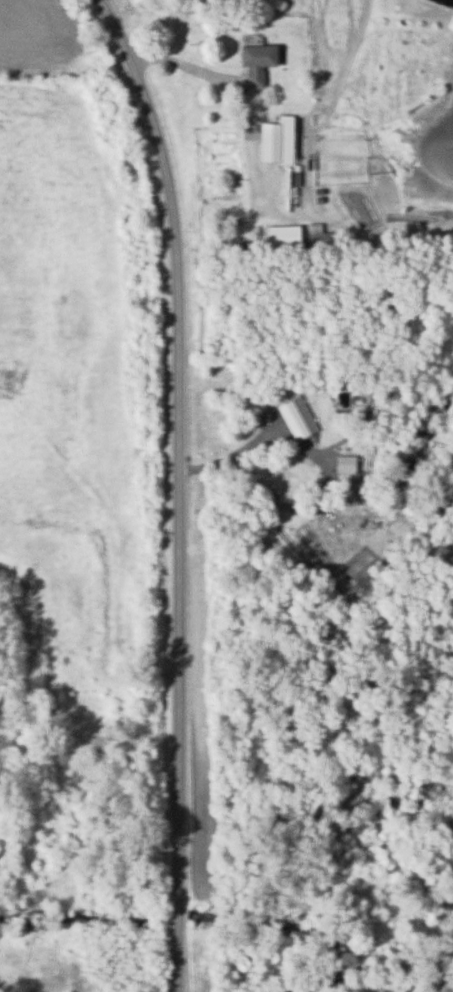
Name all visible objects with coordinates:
road: (190, 63)
building: (256, 63)
building: (268, 142)
building: (293, 182)
building: (282, 238)
building: (322, 241)
building: (6, 380)
road: (228, 453)
road: (181, 489)
road: (123, 535)

